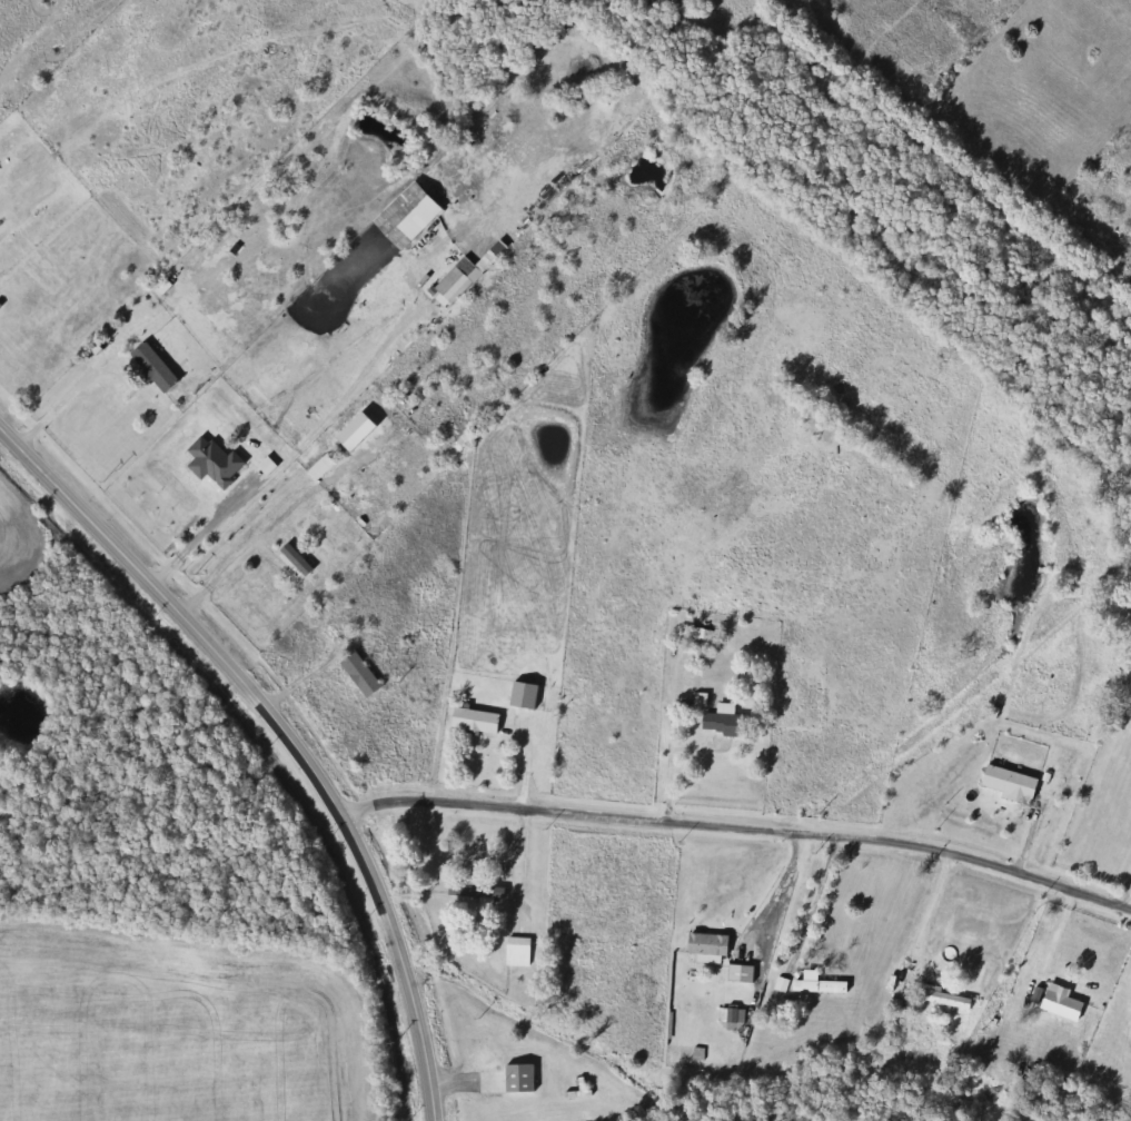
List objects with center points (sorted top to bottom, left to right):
building: (457, 281)
building: (155, 368)
road: (63, 404)
building: (814, 420)
building: (227, 453)
road: (199, 530)
road: (240, 548)
building: (704, 639)
building: (361, 675)
road: (674, 694)
building: (524, 695)
building: (475, 722)
building: (726, 722)
road: (286, 731)
building: (1010, 784)
road: (523, 829)
road: (738, 831)
road: (450, 861)
road: (776, 891)
building: (480, 895)
road: (1125, 897)
road: (814, 902)
road: (925, 921)
building: (706, 946)
building: (518, 952)
building: (741, 974)
building: (819, 988)
building: (946, 1000)
building: (1062, 1004)
building: (519, 1079)

